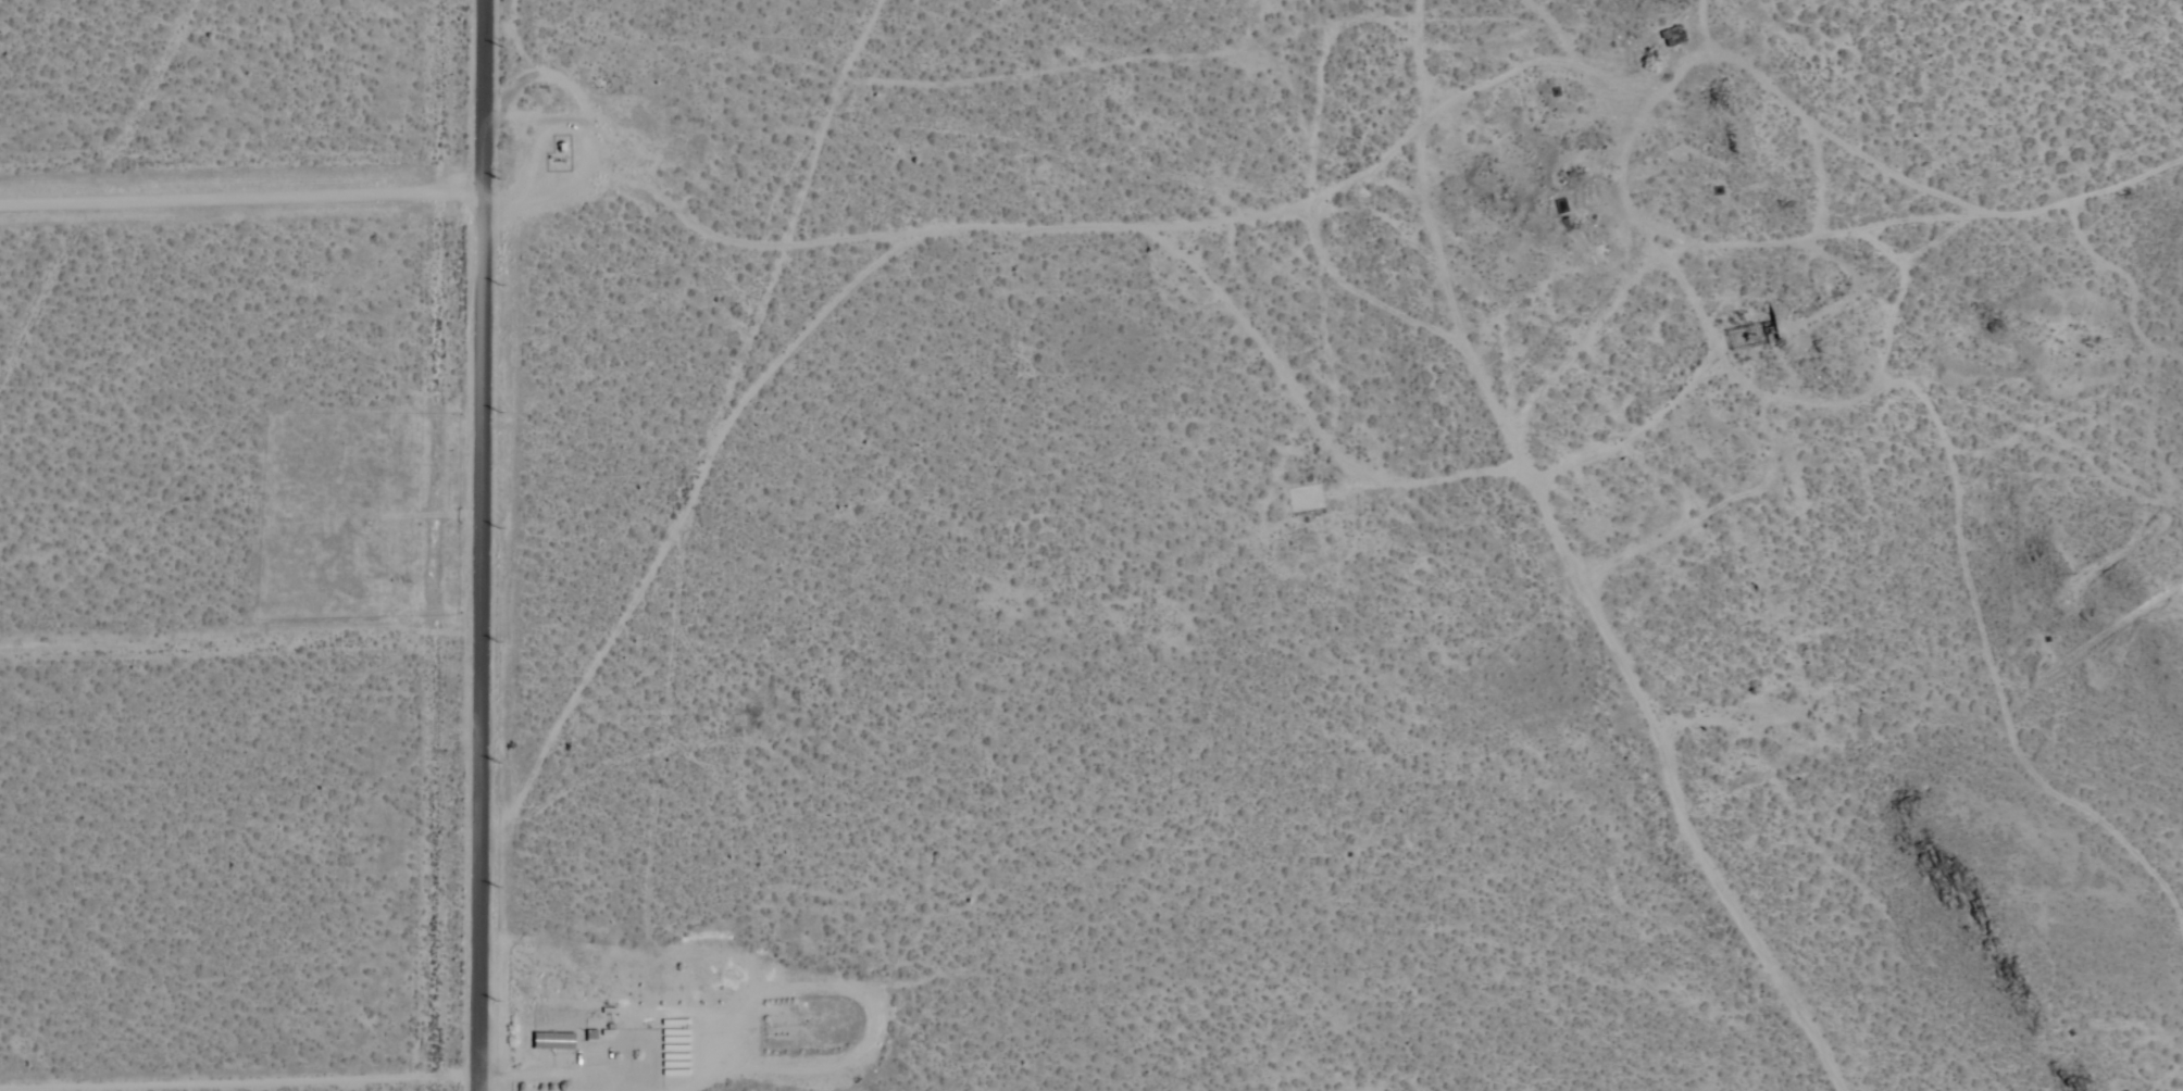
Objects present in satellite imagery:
road: (237, 190)
road: (1804, 238)
road: (473, 545)
road: (1658, 749)
building: (554, 1042)
road: (234, 1074)

